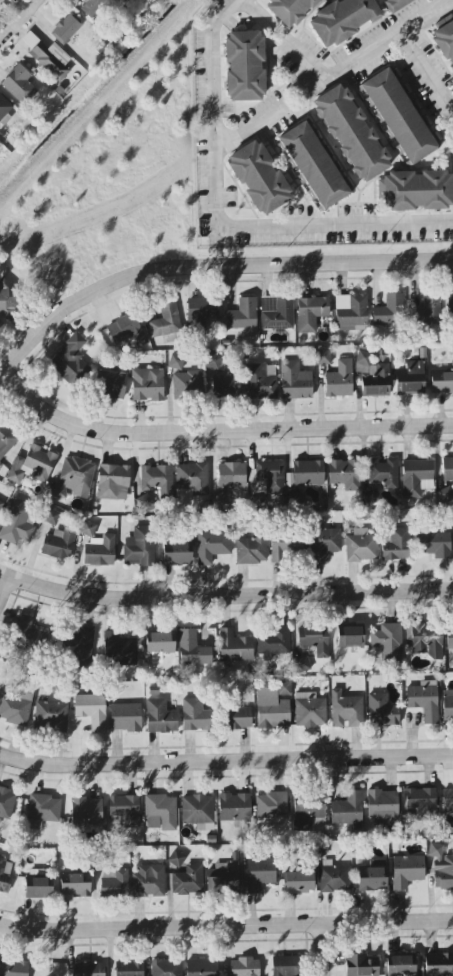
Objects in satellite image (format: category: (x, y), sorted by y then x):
building: (0, 0)
building: (396, 4)
building: (91, 6)
building: (290, 10)
road: (18, 19)
building: (342, 20)
building: (65, 28)
building: (445, 41)
building: (51, 60)
road: (431, 62)
building: (244, 66)
road: (339, 68)
building: (19, 85)
building: (4, 106)
building: (399, 116)
road: (254, 121)
building: (351, 133)
building: (313, 165)
building: (259, 178)
building: (415, 190)
road: (224, 226)
road: (209, 271)
building: (8, 301)
building: (449, 303)
building: (351, 309)
building: (389, 311)
building: (426, 312)
building: (276, 313)
building: (311, 313)
building: (199, 315)
building: (243, 317)
building: (165, 322)
building: (0, 324)
building: (126, 330)
building: (322, 358)
building: (70, 359)
building: (212, 361)
building: (175, 362)
building: (363, 364)
road: (1, 374)
building: (410, 379)
building: (339, 380)
building: (294, 381)
building: (441, 382)
building: (258, 383)
building: (376, 383)
building: (110, 384)
building: (186, 384)
building: (147, 385)
building: (225, 385)
road: (218, 433)
building: (6, 439)
building: (32, 465)
building: (447, 469)
building: (308, 473)
building: (383, 473)
building: (344, 474)
building: (231, 475)
building: (267, 477)
building: (73, 478)
building: (416, 478)
building: (191, 480)
building: (158, 481)
building: (113, 482)
building: (0, 503)
building: (51, 517)
building: (16, 523)
building: (87, 528)
building: (434, 543)
building: (58, 544)
building: (323, 544)
building: (396, 545)
building: (139, 546)
building: (212, 546)
building: (361, 546)
building: (286, 548)
building: (250, 550)
building: (99, 551)
building: (177, 554)
road: (6, 586)
road: (224, 596)
building: (29, 635)
building: (350, 636)
building: (425, 638)
building: (449, 639)
building: (314, 640)
building: (273, 642)
building: (388, 642)
building: (82, 645)
building: (159, 645)
building: (234, 647)
building: (192, 649)
building: (119, 650)
building: (301, 665)
building: (423, 700)
building: (447, 705)
building: (273, 706)
building: (15, 708)
building: (345, 709)
building: (310, 710)
building: (91, 711)
building: (381, 711)
building: (50, 716)
building: (195, 716)
building: (125, 717)
building: (160, 717)
building: (238, 718)
road: (224, 759)
building: (447, 798)
building: (6, 804)
building: (421, 804)
building: (234, 807)
building: (382, 807)
building: (271, 808)
building: (347, 809)
building: (43, 810)
building: (125, 810)
building: (86, 811)
building: (198, 811)
building: (160, 812)
building: (307, 814)
building: (176, 862)
building: (441, 867)
building: (407, 871)
building: (5, 873)
building: (257, 874)
building: (372, 878)
building: (334, 879)
building: (188, 881)
building: (148, 882)
building: (299, 882)
building: (76, 885)
building: (38, 887)
road: (226, 924)
road: (324, 949)
building: (438, 964)
building: (361, 965)
building: (285, 966)
building: (400, 966)
building: (201, 967)
building: (245, 967)
building: (13, 968)
building: (129, 968)
building: (166, 968)
building: (89, 969)

